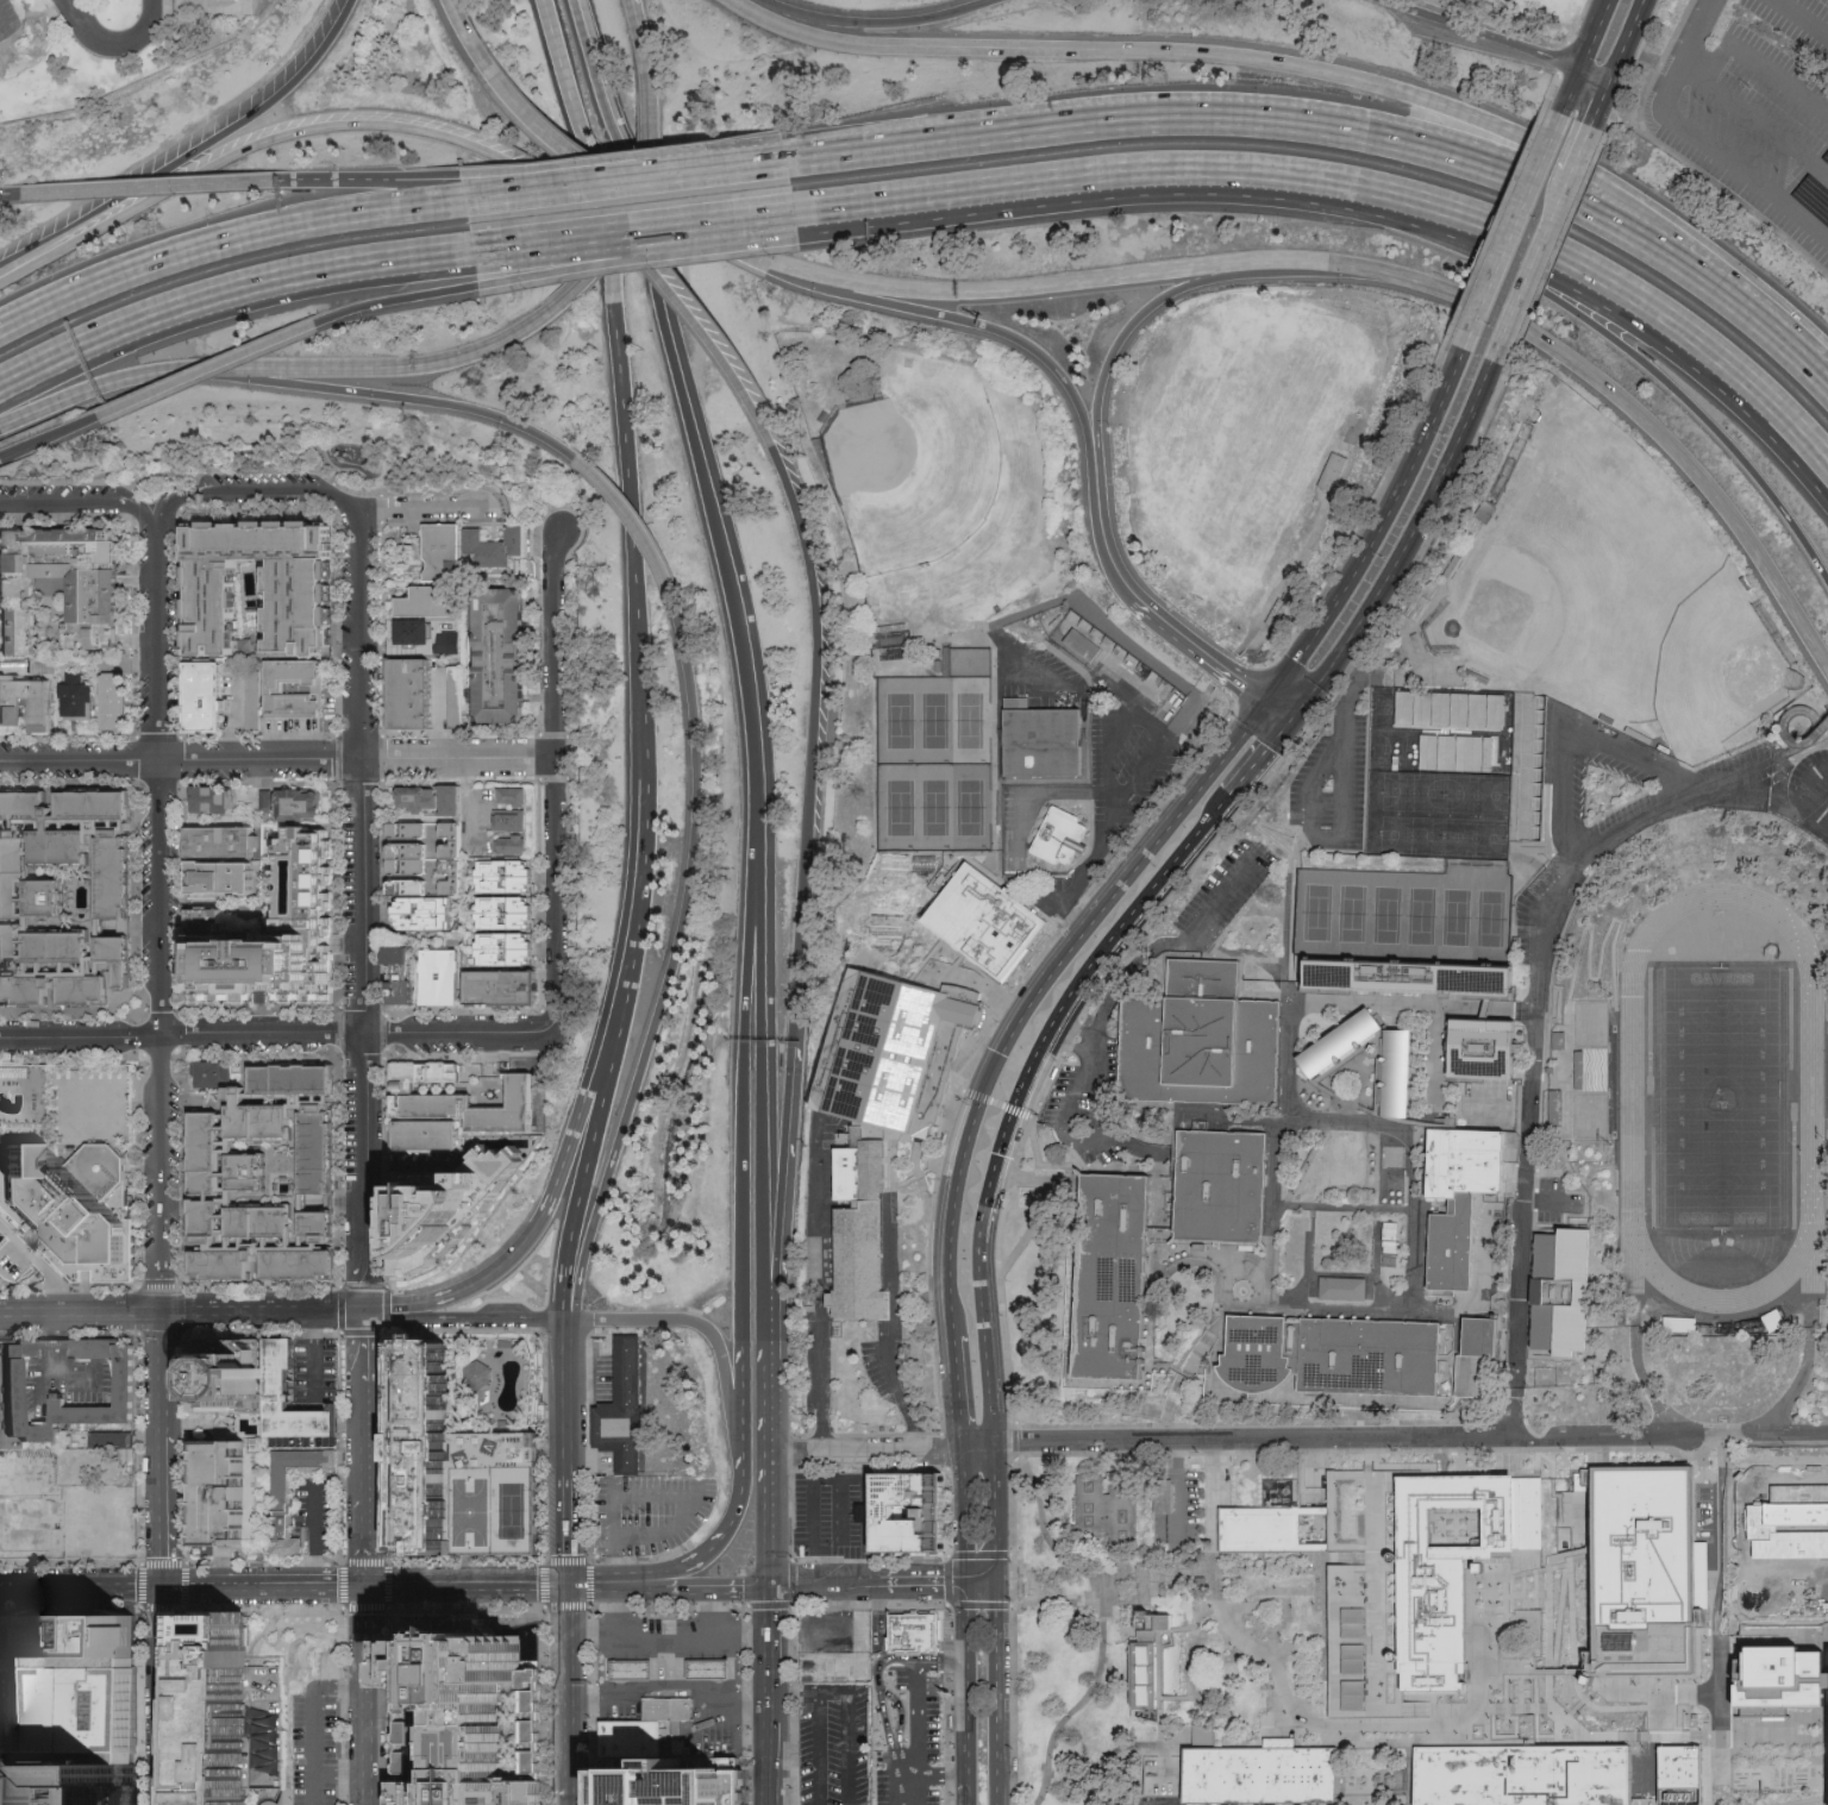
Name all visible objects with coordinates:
building: (215, 0)
road: (634, 2)
road: (1803, 15)
road: (74, 17)
parking lot: (7, 21)
road: (1578, 23)
road: (1635, 23)
road: (879, 24)
road: (1648, 26)
road: (19, 37)
road: (471, 40)
road: (644, 42)
road: (1503, 43)
road: (133, 44)
road: (1585, 55)
road: (1563, 57)
road: (1648, 57)
road: (1760, 57)
park: (434, 68)
road: (1311, 70)
road: (1695, 77)
road: (1610, 82)
road: (1552, 88)
road: (1622, 92)
parking lot: (1754, 112)
park: (1708, 114)
road: (1150, 120)
road: (1594, 123)
road: (1767, 127)
road: (221, 132)
road: (1697, 134)
road: (1582, 150)
road: (231, 158)
road: (1679, 158)
road: (785, 161)
road: (1272, 174)
road: (397, 178)
road: (599, 184)
road: (624, 186)
road: (10, 195)
road: (632, 208)
road: (821, 213)
road: (759, 219)
road: (1496, 223)
road: (1407, 230)
road: (1511, 230)
road: (572, 236)
road: (205, 246)
road: (31, 249)
road: (1557, 249)
road: (31, 253)
road: (602, 258)
road: (1532, 267)
road: (1674, 267)
road: (778, 269)
road: (659, 270)
road: (1102, 281)
road: (1185, 290)
road: (206, 299)
road: (399, 302)
road: (989, 328)
road: (384, 369)
road: (209, 371)
road: (621, 388)
road: (99, 389)
road: (1752, 390)
road: (395, 399)
road: (1745, 422)
road: (1658, 432)
road: (54, 437)
park: (1250, 439)
road: (4, 458)
park: (250, 462)
building: (1333, 471)
park: (918, 477)
road: (255, 490)
road: (81, 503)
road: (421, 509)
road: (1369, 510)
road: (637, 525)
road: (1379, 533)
road: (1109, 545)
building: (496, 547)
road: (1408, 550)
building: (434, 552)
road: (1303, 554)
road: (732, 577)
building: (65, 578)
park: (1622, 597)
building: (298, 603)
building: (426, 603)
road: (1165, 619)
building: (18, 633)
building: (412, 634)
road: (361, 635)
building: (449, 641)
building: (497, 658)
building: (969, 660)
road: (1156, 663)
building: (42, 664)
building: (1127, 665)
road: (1231, 671)
road: (1251, 683)
building: (290, 689)
road: (1206, 691)
building: (202, 695)
building: (455, 695)
building: (413, 696)
building: (111, 700)
traffic signals: (1266, 700)
building: (75, 703)
building: (1453, 708)
road: (1278, 710)
building: (39, 716)
traffic signals: (1291, 721)
road: (1115, 722)
road: (1789, 734)
road: (1565, 735)
road: (815, 745)
building: (1046, 745)
building: (1459, 752)
road: (1796, 752)
road: (277, 760)
park: (934, 763)
road: (1257, 765)
road: (1204, 778)
road: (555, 783)
parking lot: (1732, 791)
road: (1817, 791)
road: (1038, 796)
building: (1475, 797)
building: (268, 798)
building: (509, 798)
road: (1311, 800)
building: (211, 802)
building: (426, 802)
building: (94, 806)
building: (23, 807)
building: (296, 807)
building: (509, 821)
building: (408, 833)
building: (219, 841)
building: (1064, 841)
road: (1196, 841)
building: (57, 845)
building: (1473, 845)
building: (511, 847)
building: (451, 859)
building: (408, 860)
building: (924, 860)
building: (505, 877)
building: (219, 879)
building: (109, 880)
road: (640, 885)
building: (23, 886)
building: (407, 888)
road: (1056, 903)
building: (503, 914)
building: (421, 915)
road: (162, 916)
park: (1402, 916)
building: (988, 926)
building: (270, 936)
road: (1165, 944)
building: (8, 947)
building: (58, 948)
building: (503, 951)
building: (114, 960)
road: (671, 969)
building: (1420, 973)
building: (402, 977)
building: (440, 978)
building: (501, 988)
building: (23, 992)
road: (1309, 1002)
road: (1536, 1005)
road: (1062, 1021)
road: (990, 1029)
road: (1019, 1029)
road: (271, 1035)
road: (362, 1036)
road: (614, 1041)
building: (1339, 1043)
building: (896, 1045)
building: (1204, 1045)
building: (1486, 1054)
building: (1589, 1072)
building: (211, 1074)
road: (744, 1076)
road: (1047, 1077)
building: (1398, 1078)
building: (292, 1080)
road: (589, 1091)
park: (1724, 1095)
building: (459, 1098)
track: (1634, 1101)
building: (1558, 1107)
road: (1095, 1117)
road: (1063, 1118)
building: (257, 1120)
building: (424, 1135)
building: (315, 1153)
building: (205, 1154)
road: (785, 1161)
building: (67, 1170)
building: (248, 1173)
building: (1396, 1178)
building: (1226, 1191)
building: (452, 1202)
building: (1463, 1205)
road: (576, 1208)
building: (206, 1220)
building: (261, 1223)
building: (862, 1233)
road: (768, 1246)
building: (1301, 1248)
building: (1389, 1253)
building: (14, 1260)
building: (298, 1264)
building: (220, 1265)
road: (487, 1278)
road: (952, 1283)
building: (1116, 1283)
road: (819, 1287)
building: (1344, 1290)
building: (1561, 1292)
road: (771, 1297)
road: (375, 1312)
road: (985, 1312)
traffic signals: (163, 1314)
road: (180, 1314)
traffic signals: (362, 1314)
building: (1777, 1318)
road: (632, 1321)
road: (314, 1325)
road: (769, 1335)
building: (1482, 1362)
building: (1329, 1364)
road: (313, 1368)
building: (228, 1374)
road: (741, 1375)
road: (362, 1380)
road: (769, 1389)
road: (956, 1390)
road: (896, 1391)
building: (8, 1396)
road: (570, 1398)
building: (620, 1414)
building: (306, 1417)
road: (879, 1433)
road: (1670, 1436)
road: (1252, 1437)
road: (770, 1439)
road: (1015, 1439)
road: (977, 1441)
building: (455, 1444)
road: (741, 1447)
road: (945, 1449)
road: (865, 1450)
road: (1192, 1452)
road: (960, 1453)
building: (81, 1455)
road: (1375, 1456)
road: (770, 1467)
parking lot: (29, 1475)
road: (828, 1479)
road: (1738, 1487)
road: (1331, 1489)
road: (1212, 1492)
building: (226, 1493)
road: (996, 1497)
building: (278, 1500)
park: (474, 1509)
park: (513, 1510)
road: (947, 1510)
building: (1107, 1511)
road: (1313, 1511)
road: (1328, 1511)
building: (903, 1512)
road: (791, 1513)
building: (1782, 1513)
road: (849, 1515)
road: (615, 1516)
road: (810, 1516)
road: (362, 1517)
parking lot: (634, 1517)
road: (314, 1518)
road: (964, 1521)
building: (98, 1523)
road: (1222, 1529)
building: (1258, 1530)
road: (1295, 1530)
road: (571, 1531)
road: (770, 1533)
road: (655, 1534)
building: (1820, 1534)
road: (721, 1538)
building: (1780, 1542)
parking lot: (1767, 1546)
road: (1313, 1547)
road: (1351, 1547)
road: (831, 1552)
road: (1567, 1552)
road: (981, 1553)
road: (1369, 1558)
road: (165, 1559)
building: (1464, 1561)
road: (849, 1566)
road: (619, 1568)
road: (313, 1569)
road: (1000, 1569)
road: (1204, 1571)
building: (1641, 1571)
road: (1119, 1572)
road: (1215, 1575)
road: (650, 1577)
road: (949, 1579)
road: (921, 1580)
traffic signals: (966, 1580)
road: (983, 1580)
road: (824, 1581)
traffic signals: (1000, 1581)
road: (750, 1582)
traffic signals: (771, 1582)
road: (641, 1584)
road: (696, 1584)
road: (130, 1586)
traffic signals: (167, 1586)
road: (595, 1586)
road: (282, 1587)
road: (333, 1587)
traffic signals: (362, 1587)
road: (467, 1587)
traffic signals: (572, 1588)
road: (1282, 1588)
road: (1206, 1593)
road: (1126, 1600)
road: (979, 1604)
road: (1376, 1604)
road: (261, 1610)
road: (771, 1610)
road: (728, 1612)
road: (362, 1613)
road: (1485, 1615)
road: (1571, 1616)
road: (273, 1618)
road: (1279, 1623)
road: (1102, 1625)
road: (793, 1627)
road: (284, 1629)
fountain: (526, 1632)
road: (807, 1635)
building: (918, 1635)
road: (1548, 1636)
building: (77, 1637)
road: (750, 1638)
road: (651, 1640)
road: (1722, 1640)
road: (253, 1641)
road: (1331, 1641)
helipad: (75, 1642)
gas station: (669, 1647)
park: (1062, 1653)
road: (998, 1655)
building: (1147, 1657)
road: (771, 1661)
road: (941, 1663)
road: (1563, 1671)
building: (1786, 1672)
building: (712, 1674)
road: (1504, 1674)
building: (634, 1675)
road: (966, 1682)
road: (572, 1687)
road: (1594, 1687)
road: (680, 1690)
road: (1520, 1691)
road: (394, 1694)
road: (421, 1700)
road: (949, 1704)
road: (392, 1706)
road: (1485, 1706)
road: (1533, 1706)
road: (1505, 1707)
road: (1520, 1707)
building: (76, 1711)
road: (1438, 1711)
building: (231, 1712)
building: (672, 1712)
building: (456, 1715)
road: (364, 1722)
road: (314, 1723)
road: (1325, 1724)
road: (1463, 1725)
road: (1196, 1735)
road: (1627, 1736)
road: (918, 1737)
parking lot: (906, 1738)
road: (1367, 1738)
road: (1409, 1742)
road: (1475, 1742)
parking lot: (317, 1744)
road: (821, 1744)
parking lot: (837, 1744)
road: (772, 1746)
road: (997, 1767)
road: (340, 1774)
building: (1686, 1774)
building: (1521, 1775)
road: (941, 1778)
building: (1259, 1778)
building: (76, 1784)
building: (670, 1785)
road: (1409, 1785)
road: (966, 1794)
road: (572, 1795)
parking lot: (1145, 1800)

